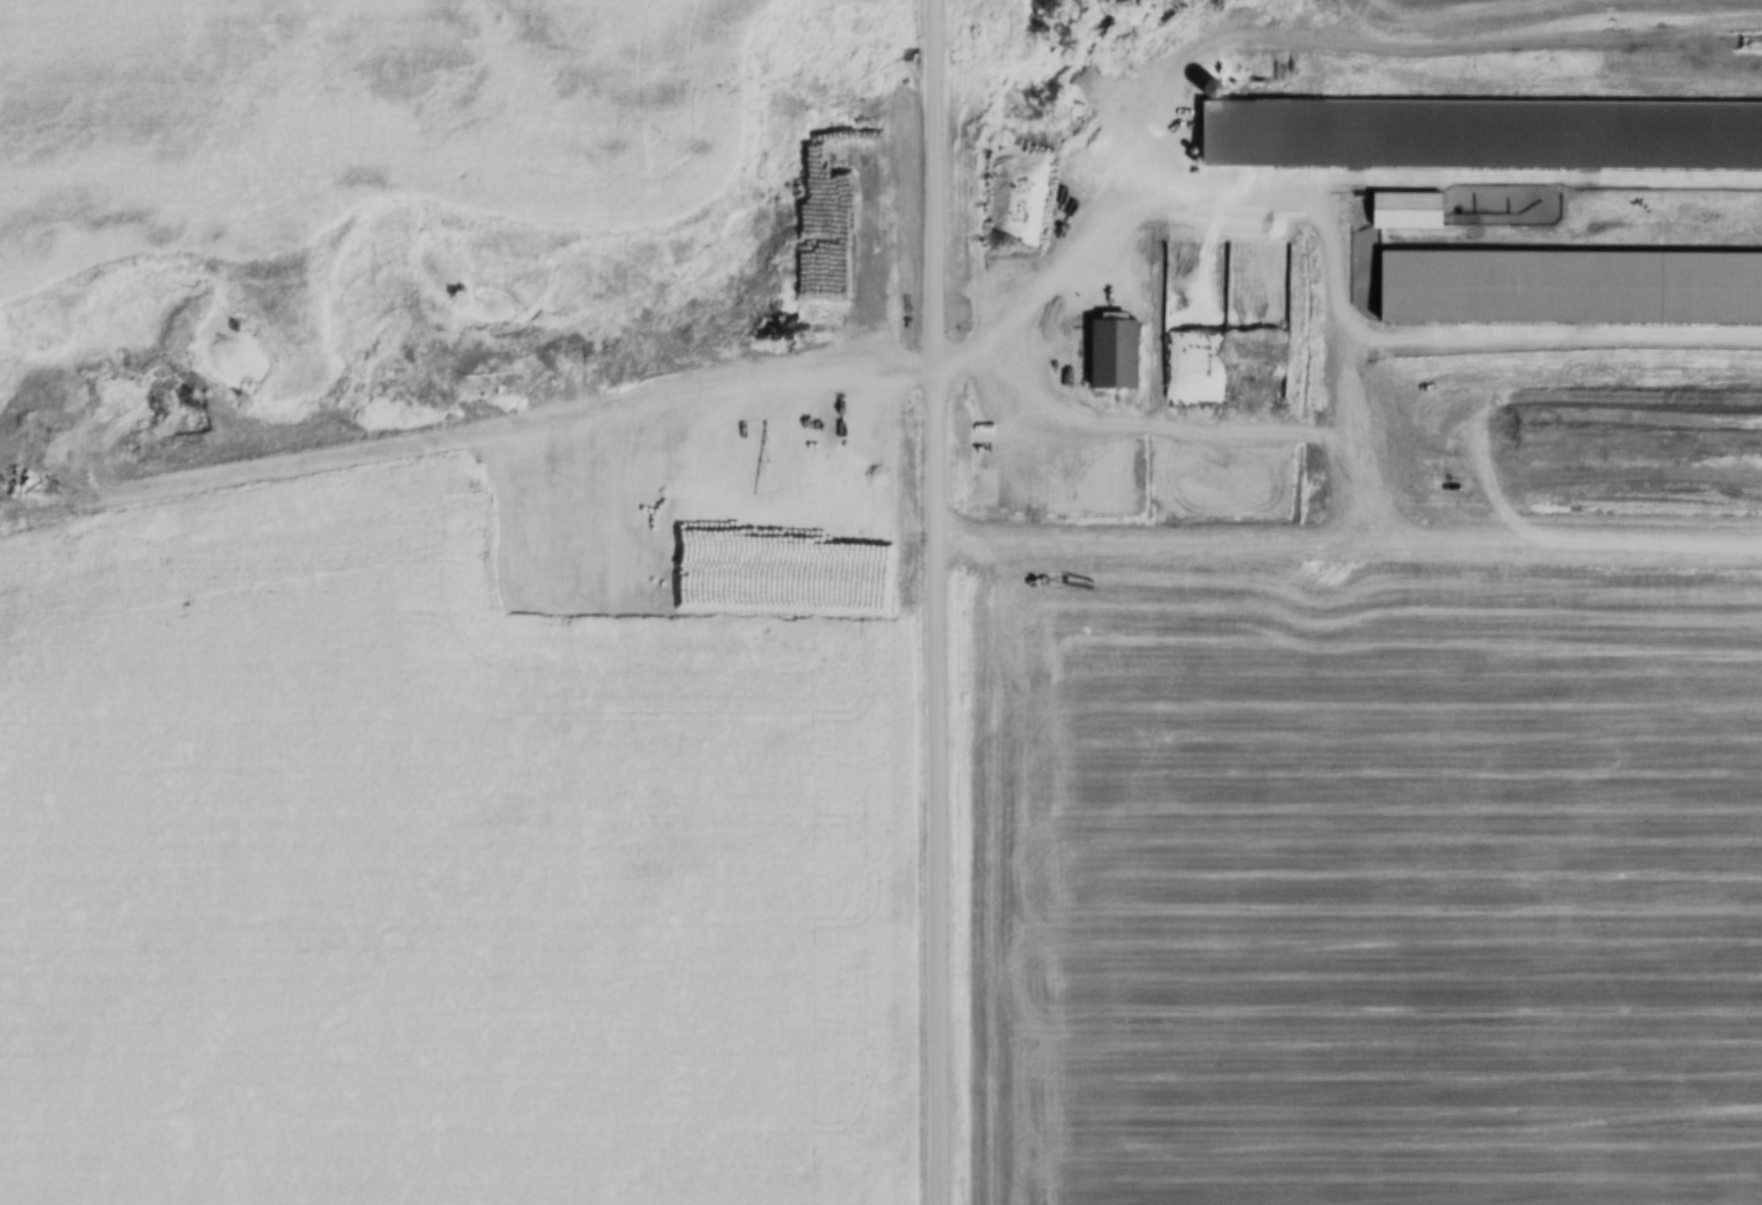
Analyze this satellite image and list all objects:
building: (1482, 140)
building: (1742, 289)
building: (1474, 291)
building: (1113, 359)
road: (469, 433)
road: (940, 601)

